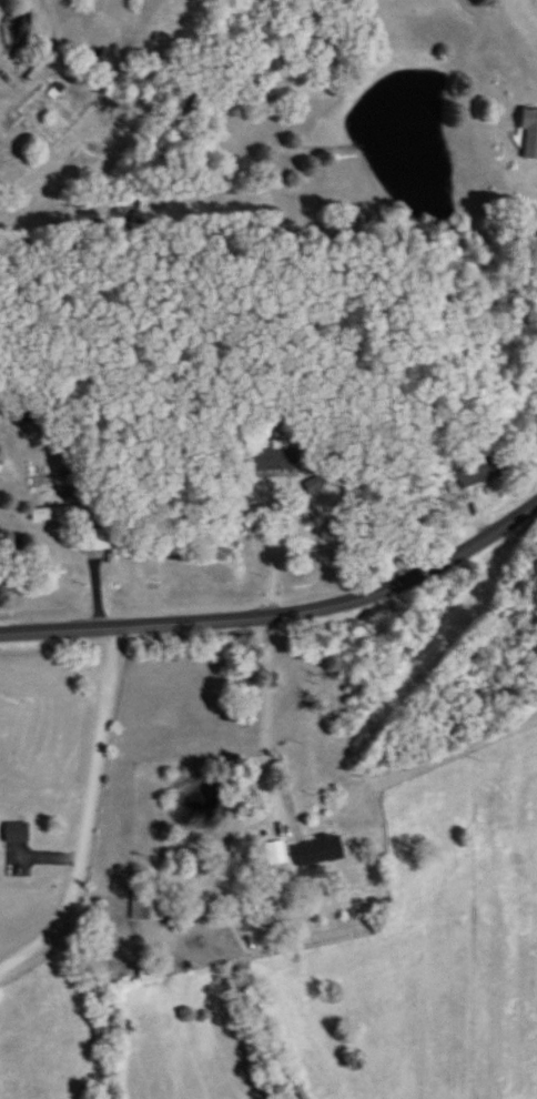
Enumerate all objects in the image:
road: (53, 16)
building: (528, 133)
building: (275, 458)
building: (482, 471)
building: (55, 513)
building: (98, 538)
road: (276, 553)
road: (280, 609)
road: (268, 725)
road: (90, 815)
building: (17, 831)
building: (317, 849)
building: (276, 853)
building: (149, 909)

